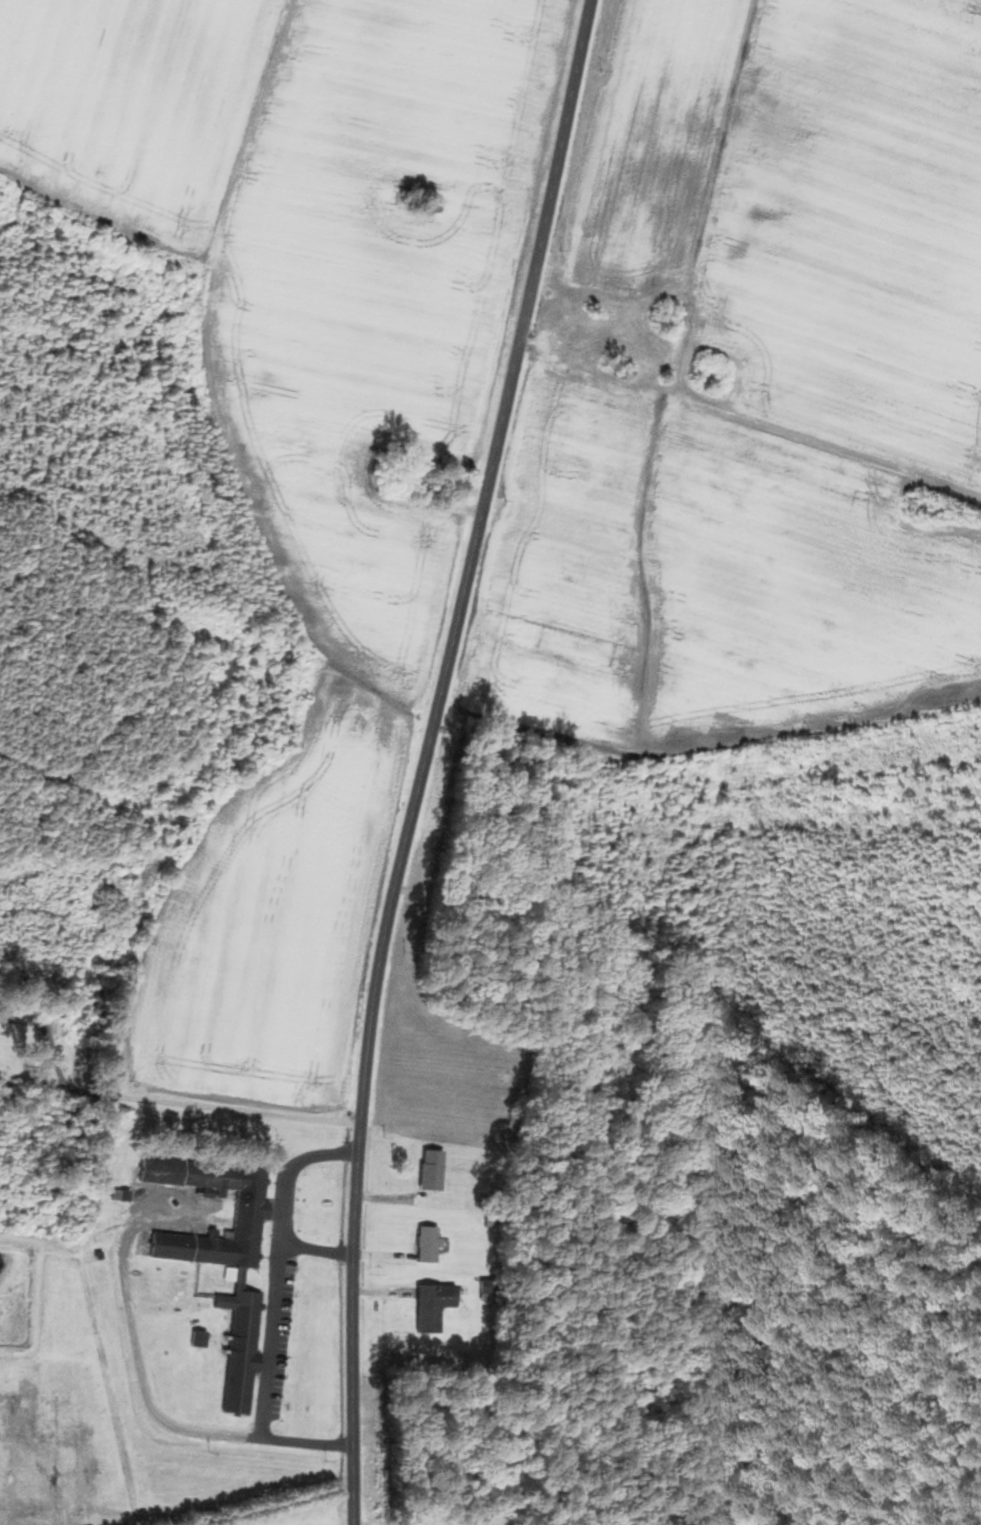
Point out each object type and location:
road: (418, 756)
road: (14, 1007)
road: (9, 1019)
road: (170, 1102)
building: (155, 1170)
building: (428, 1170)
building: (426, 1244)
road: (315, 1252)
building: (234, 1277)
building: (430, 1307)
road: (271, 1313)
road: (135, 1353)

